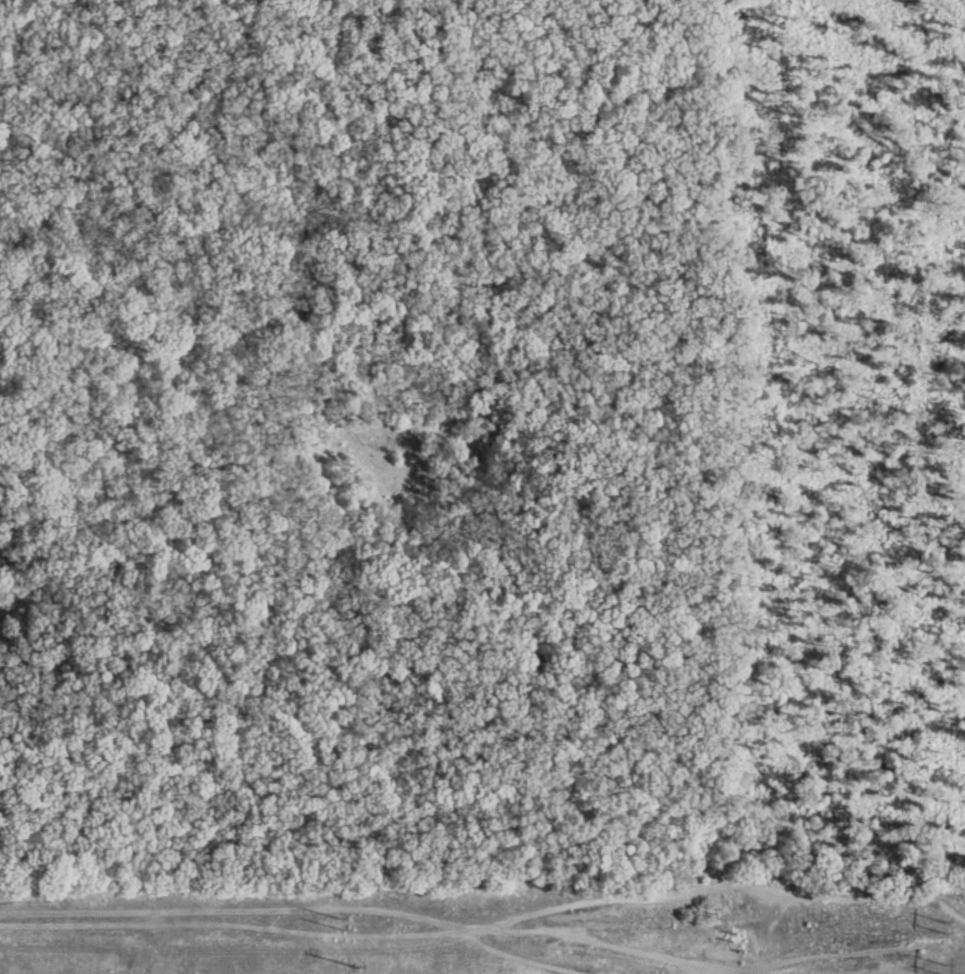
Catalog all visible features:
power tower: (345, 922)
power tower: (942, 925)
power tower: (352, 966)
power tower: (941, 970)

